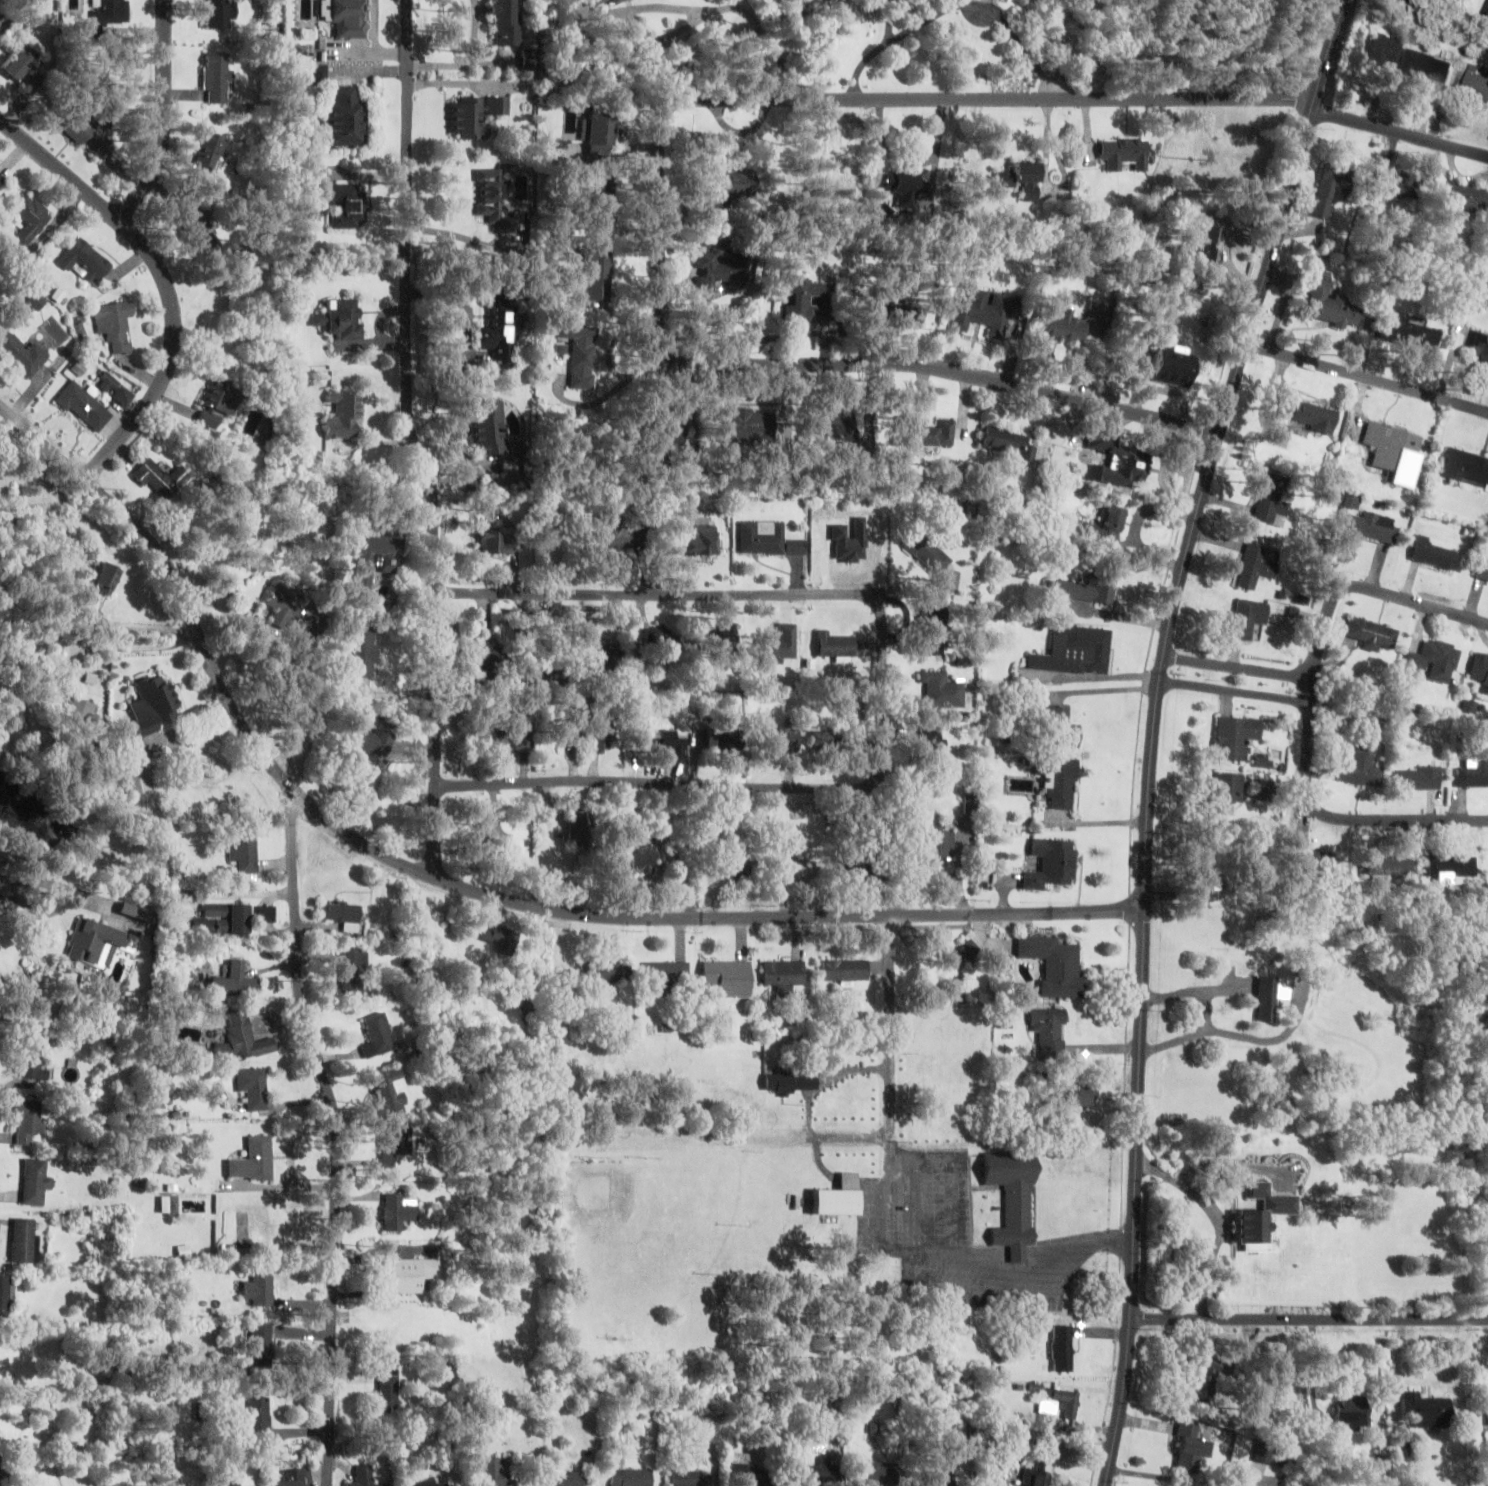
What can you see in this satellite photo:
building: (612, 0)
building: (594, 1)
building: (1485, 8)
building: (220, 13)
building: (106, 16)
building: (346, 18)
building: (503, 22)
building: (1380, 49)
building: (1426, 64)
building: (26, 65)
building: (217, 77)
building: (1475, 85)
building: (475, 115)
building: (343, 118)
building: (88, 132)
building: (600, 133)
road: (1400, 134)
building: (210, 149)
building: (1125, 152)
road: (62, 169)
building: (2, 177)
building: (1023, 179)
building: (1404, 184)
building: (904, 187)
road: (659, 188)
building: (732, 189)
building: (1327, 192)
building: (1466, 198)
building: (604, 200)
building: (495, 201)
building: (343, 203)
building: (31, 219)
building: (199, 228)
road: (147, 249)
building: (1209, 249)
building: (85, 259)
building: (722, 270)
building: (598, 278)
building: (809, 300)
building: (1330, 303)
building: (985, 313)
building: (1099, 313)
building: (903, 314)
building: (339, 318)
building: (116, 323)
building: (1061, 326)
building: (1411, 334)
building: (500, 343)
building: (1480, 345)
building: (22, 353)
building: (582, 355)
building: (63, 358)
building: (1171, 367)
road: (1368, 379)
building: (80, 401)
building: (219, 402)
building: (343, 414)
building: (1308, 415)
building: (491, 426)
building: (746, 426)
building: (841, 430)
building: (671, 432)
building: (929, 432)
road: (415, 440)
building: (1011, 442)
road: (45, 443)
building: (1395, 452)
building: (1119, 461)
building: (1466, 466)
building: (164, 478)
building: (1273, 500)
building: (1353, 501)
building: (1103, 525)
building: (1374, 528)
building: (610, 535)
building: (769, 539)
building: (496, 541)
building: (702, 541)
building: (929, 552)
building: (1436, 554)
building: (374, 560)
building: (1256, 566)
building: (1483, 570)
building: (107, 577)
building: (1087, 587)
building: (285, 603)
building: (1248, 618)
building: (935, 628)
building: (1373, 634)
building: (722, 639)
building: (665, 643)
building: (780, 644)
building: (838, 646)
building: (1077, 650)
building: (364, 653)
building: (483, 653)
building: (1434, 662)
road: (1240, 670)
building: (1480, 672)
building: (945, 690)
road: (883, 691)
road: (1236, 693)
building: (153, 704)
road: (1310, 710)
building: (81, 712)
building: (1057, 724)
road: (1155, 731)
building: (572, 735)
building: (597, 735)
building: (1237, 737)
building: (516, 738)
building: (724, 738)
building: (782, 738)
building: (663, 739)
building: (828, 739)
building: (367, 740)
building: (934, 745)
building: (1361, 766)
building: (1474, 774)
building: (1419, 778)
building: (136, 780)
building: (1061, 787)
building: (1226, 792)
building: (973, 804)
building: (582, 824)
building: (478, 840)
building: (936, 841)
building: (244, 851)
building: (643, 860)
building: (1316, 862)
building: (1053, 863)
building: (859, 864)
building: (1389, 865)
building: (1451, 867)
building: (741, 868)
building: (799, 870)
building: (1202, 883)
road: (517, 904)
building: (133, 912)
building: (265, 913)
building: (342, 914)
building: (222, 919)
building: (500, 935)
building: (97, 943)
building: (971, 949)
building: (1058, 965)
building: (354, 970)
building: (845, 971)
building: (668, 972)
building: (607, 973)
building: (785, 974)
building: (729, 977)
building: (234, 983)
building: (1210, 985)
building: (1268, 986)
building: (1050, 1029)
road: (892, 1031)
building: (378, 1035)
building: (242, 1039)
building: (31, 1058)
building: (790, 1082)
building: (254, 1087)
building: (390, 1094)
building: (1078, 1095)
building: (29, 1120)
road: (338, 1137)
building: (395, 1143)
building: (253, 1160)
building: (35, 1181)
building: (840, 1196)
building: (1014, 1199)
building: (168, 1204)
building: (399, 1211)
park: (645, 1234)
building: (22, 1239)
building: (406, 1273)
building: (260, 1287)
building: (6, 1297)
road: (1310, 1321)
building: (261, 1345)
building: (1063, 1348)
building: (1207, 1377)
building: (389, 1389)
building: (1061, 1403)
building: (1427, 1410)
building: (1351, 1411)
building: (258, 1417)
building: (1402, 1431)
building: (1189, 1448)
building: (2, 1472)
building: (498, 1473)
building: (822, 1473)
building: (879, 1473)
building: (629, 1474)
building: (365, 1477)
building: (686, 1477)
building: (752, 1477)
building: (941, 1477)
building: (1036, 1477)
building: (296, 1478)
building: (572, 1478)
building: (242, 1482)
building: (426, 1482)

